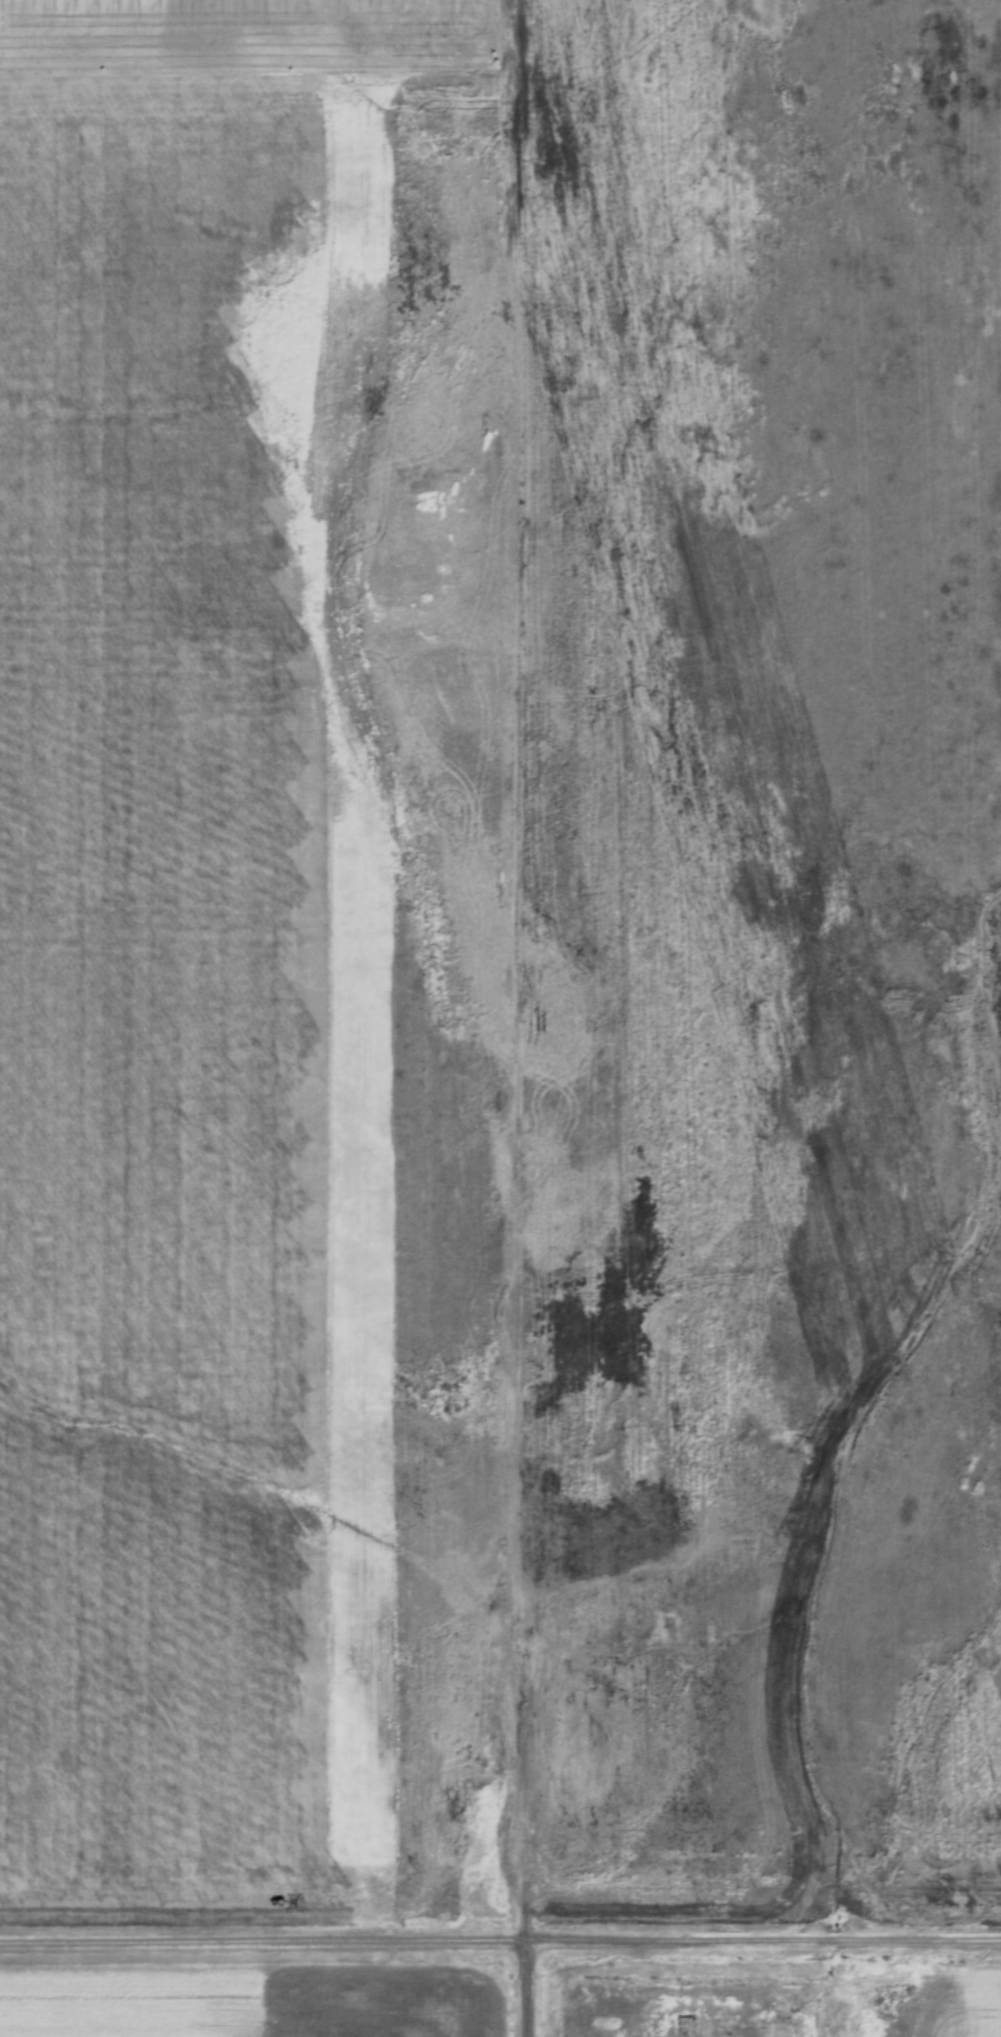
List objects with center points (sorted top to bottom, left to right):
road: (500, 1940)
road: (525, 1988)

